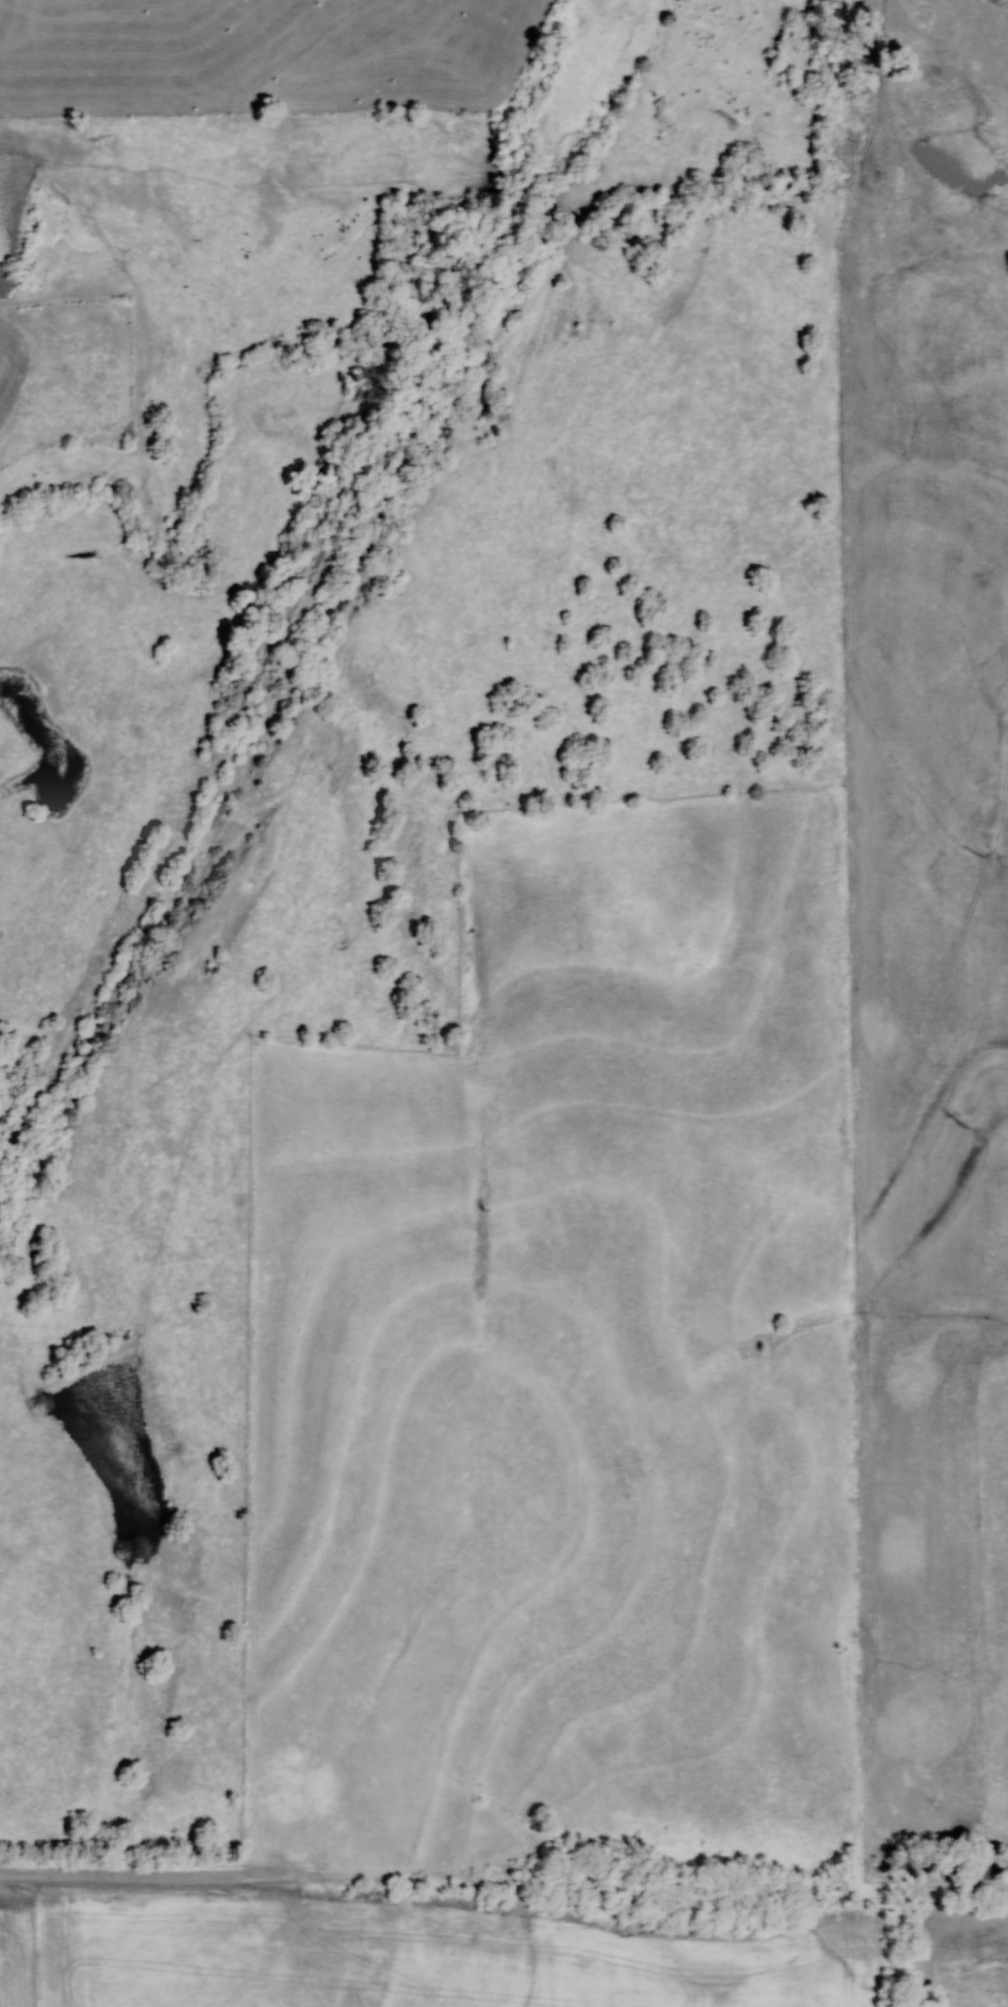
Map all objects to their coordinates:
road: (147, 1878)

